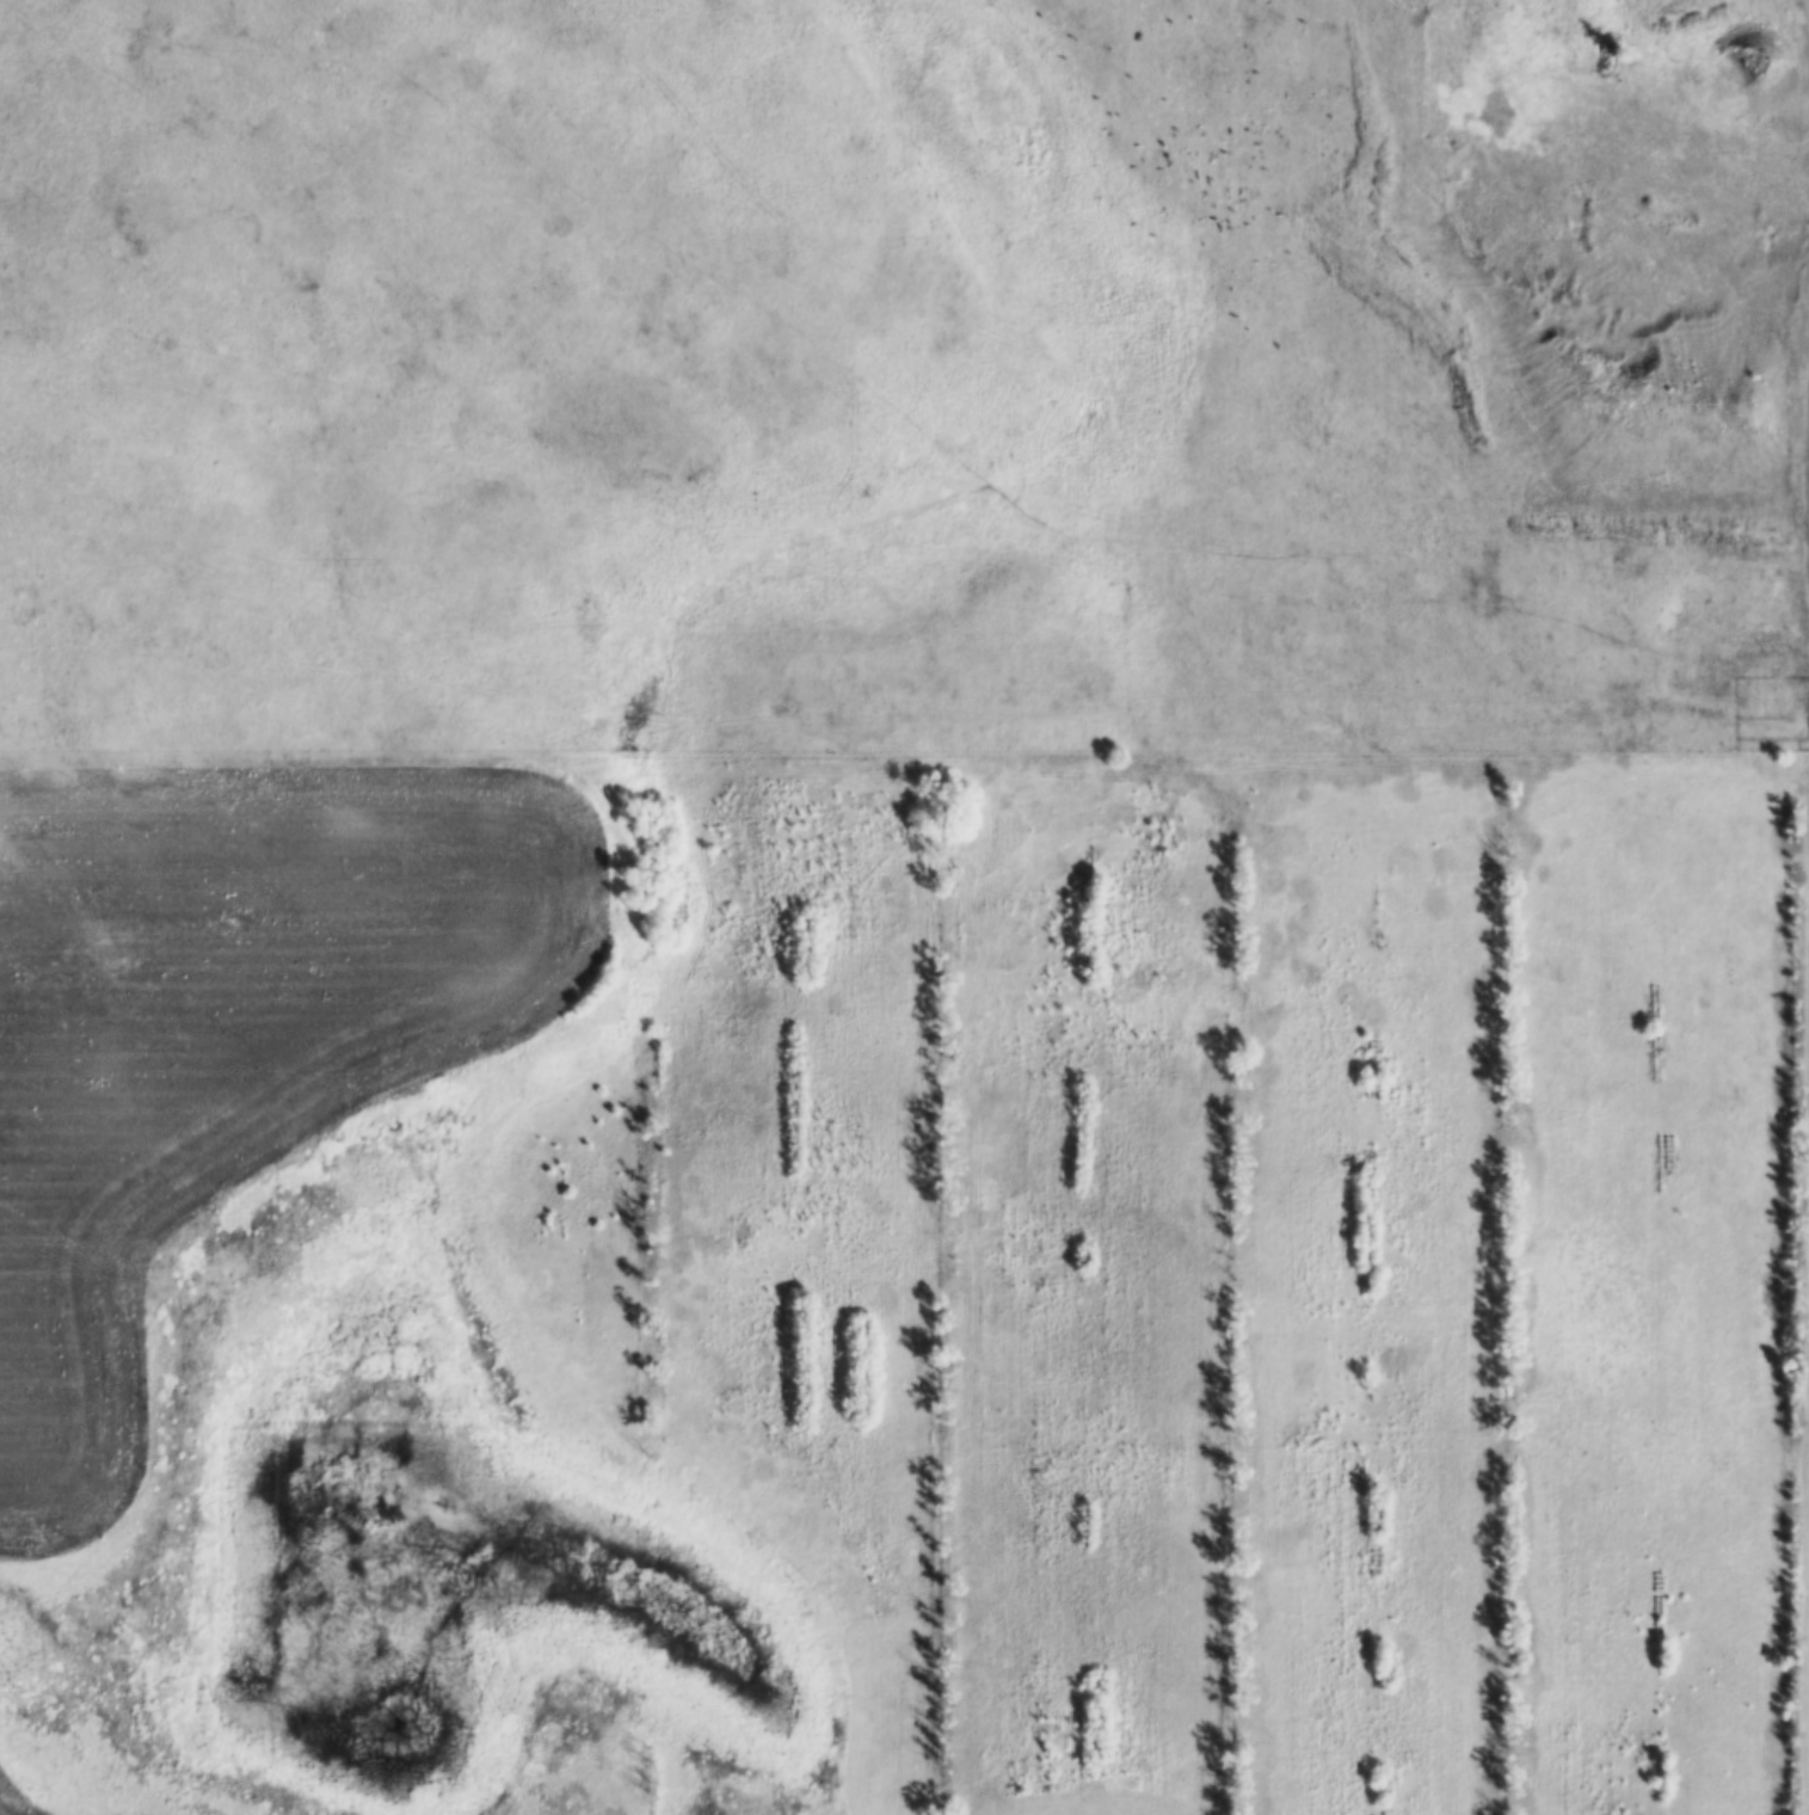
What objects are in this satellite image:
road: (1653, 84)
quarry: (1624, 241)

